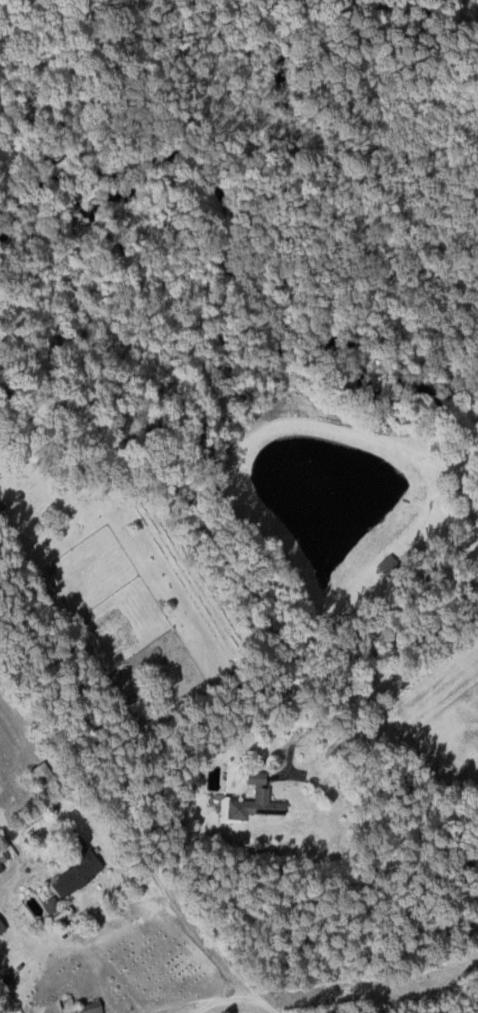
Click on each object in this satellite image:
building: (249, 801)
building: (2, 859)
building: (72, 866)
building: (75, 1007)

